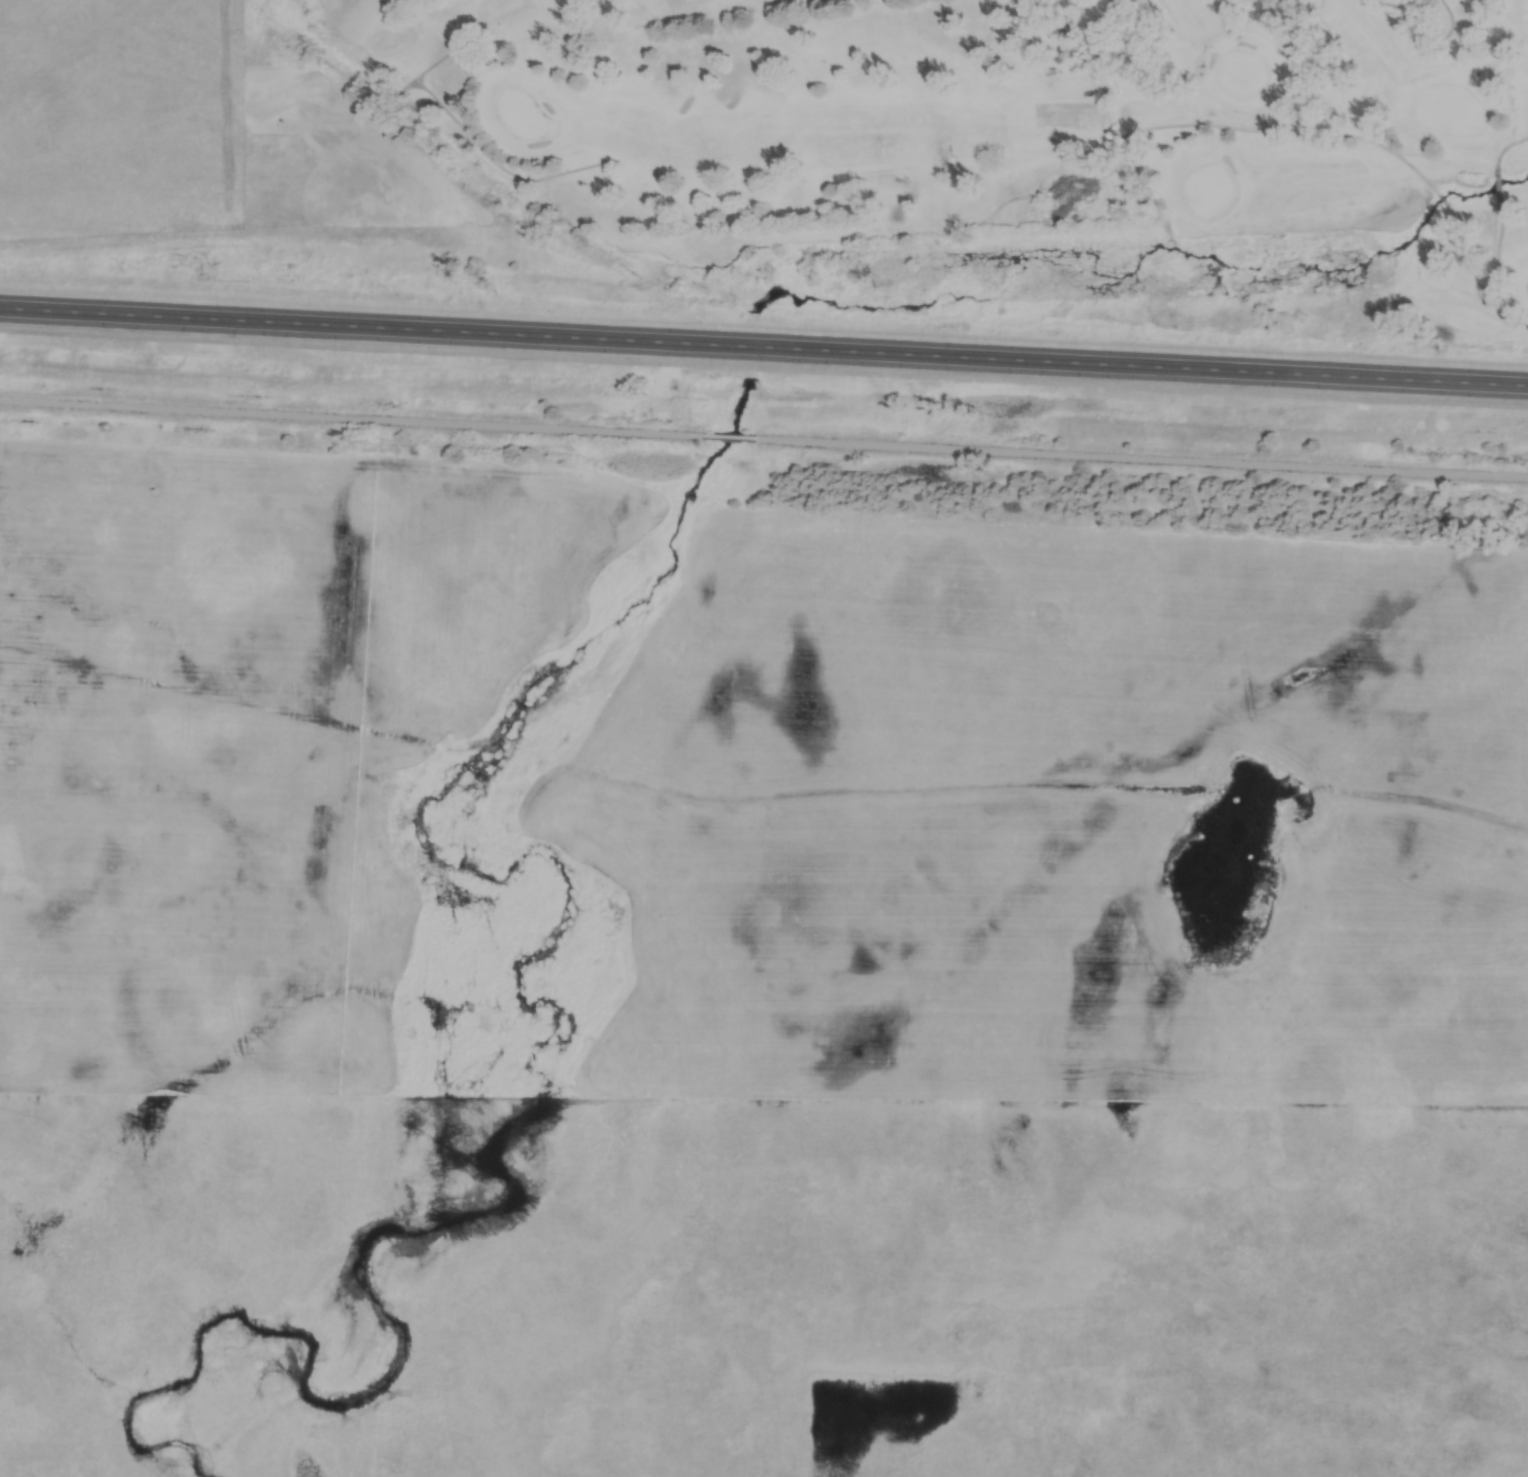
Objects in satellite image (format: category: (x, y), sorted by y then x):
park: (958, 128)
airport: (122, 137)
road: (764, 351)
road: (350, 418)
road: (726, 439)
road: (1139, 459)

